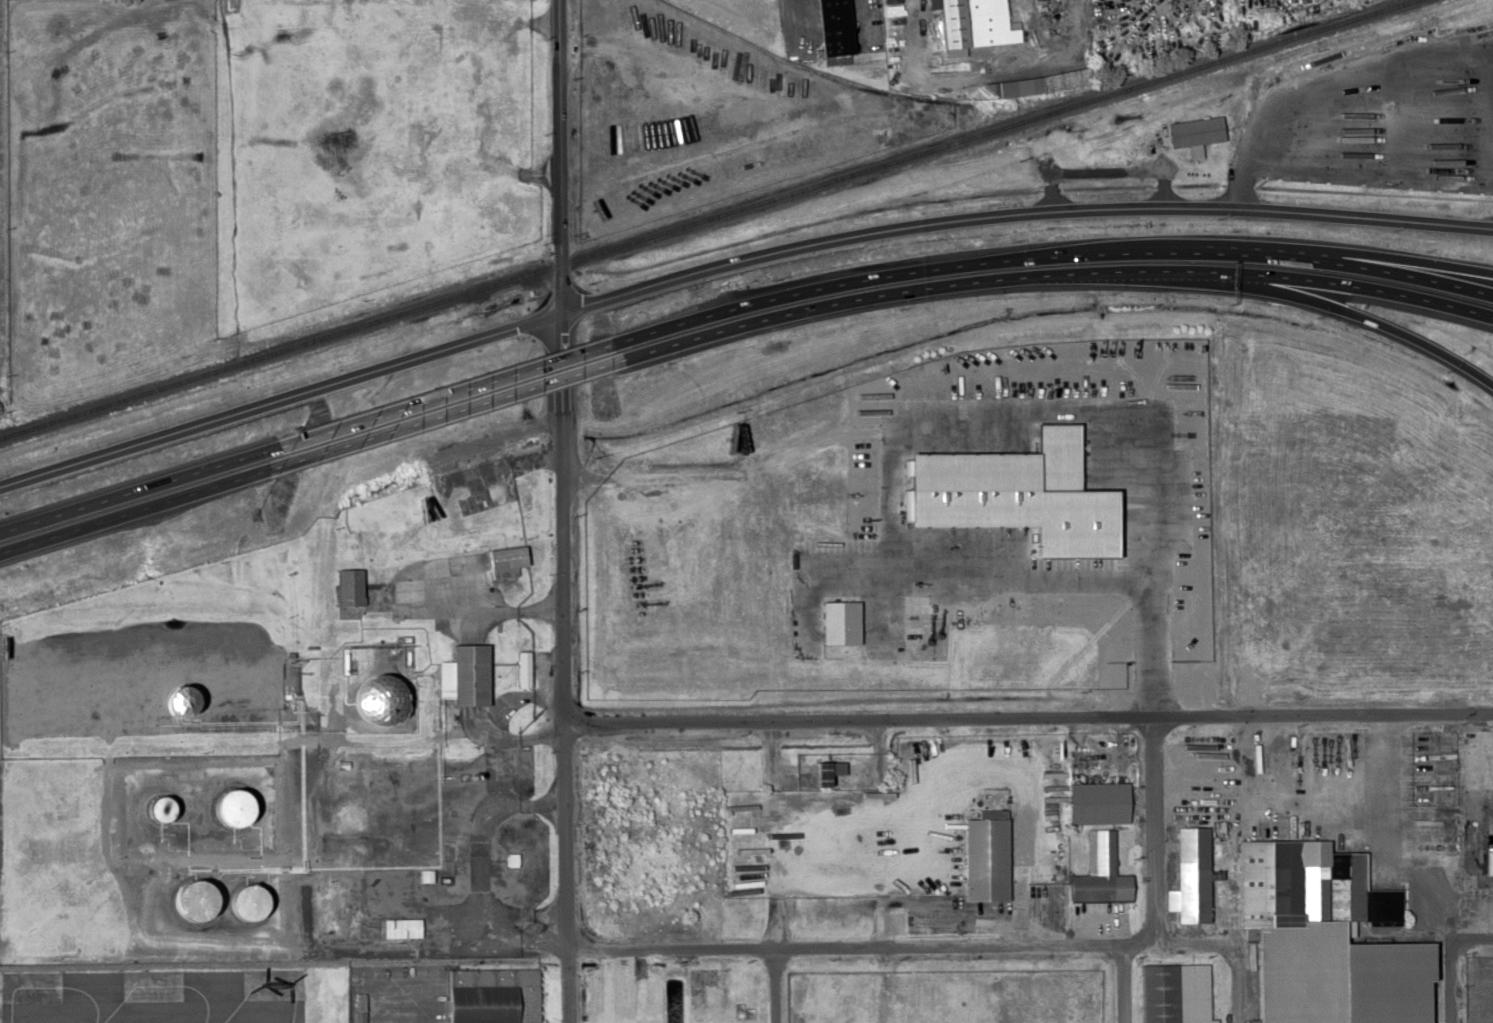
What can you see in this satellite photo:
building: (974, 23)
building: (833, 26)
building: (1039, 82)
building: (1195, 131)
road: (561, 155)
railway: (701, 216)
road: (1345, 249)
road: (1049, 255)
road: (732, 261)
road: (1358, 284)
road: (917, 287)
road: (1362, 316)
building: (506, 378)
road: (442, 394)
road: (440, 411)
road: (879, 432)
building: (267, 448)
road: (144, 487)
road: (141, 507)
road: (7, 530)
building: (1107, 537)
road: (10, 549)
building: (506, 559)
building: (348, 586)
road: (566, 665)
building: (465, 674)
building: (384, 698)
building: (188, 699)
road: (1029, 716)
building: (826, 772)
building: (1095, 802)
building: (237, 807)
building: (163, 808)
road: (1154, 830)
building: (984, 856)
road: (1246, 868)
building: (1095, 869)
road: (775, 871)
building: (1189, 875)
building: (198, 898)
building: (252, 901)
building: (399, 927)
building: (1322, 938)
road: (1031, 945)
road: (1449, 981)
airport: (276, 984)
road: (1126, 984)
building: (1173, 993)
building: (490, 995)
road: (570, 1022)

